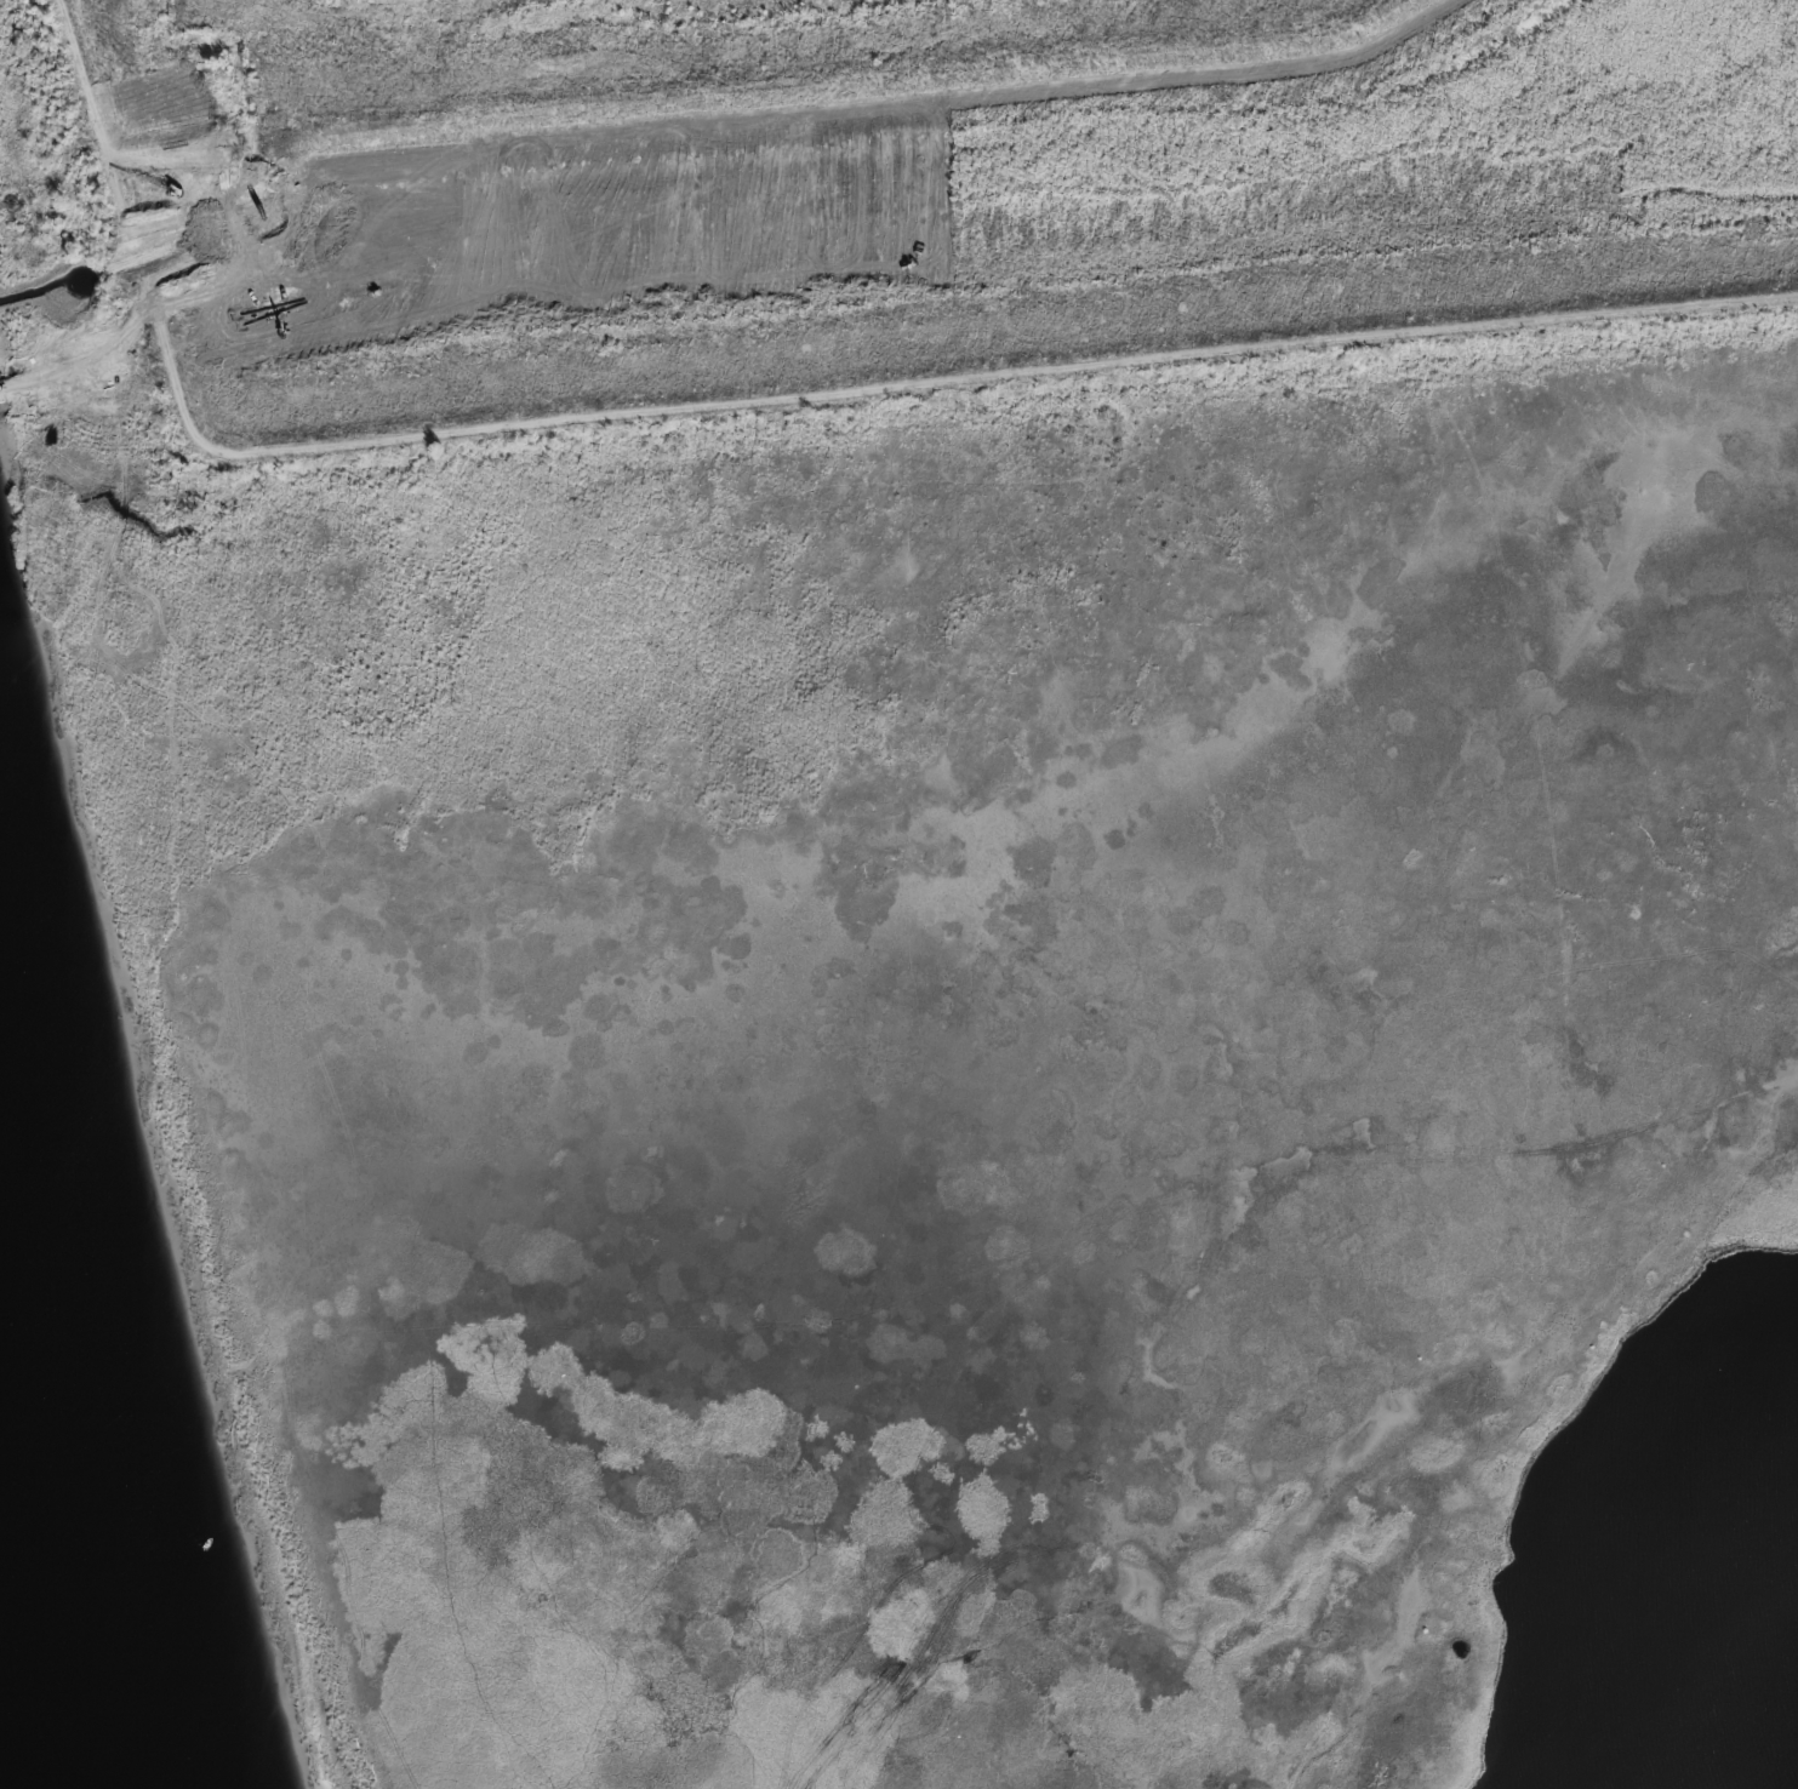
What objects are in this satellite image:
river: (47, 1587)

